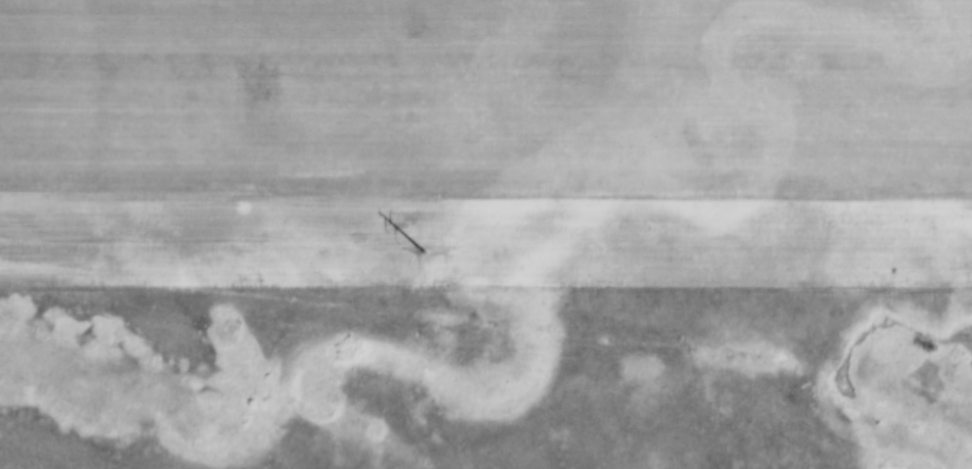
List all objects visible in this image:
power tower: (425, 250)

